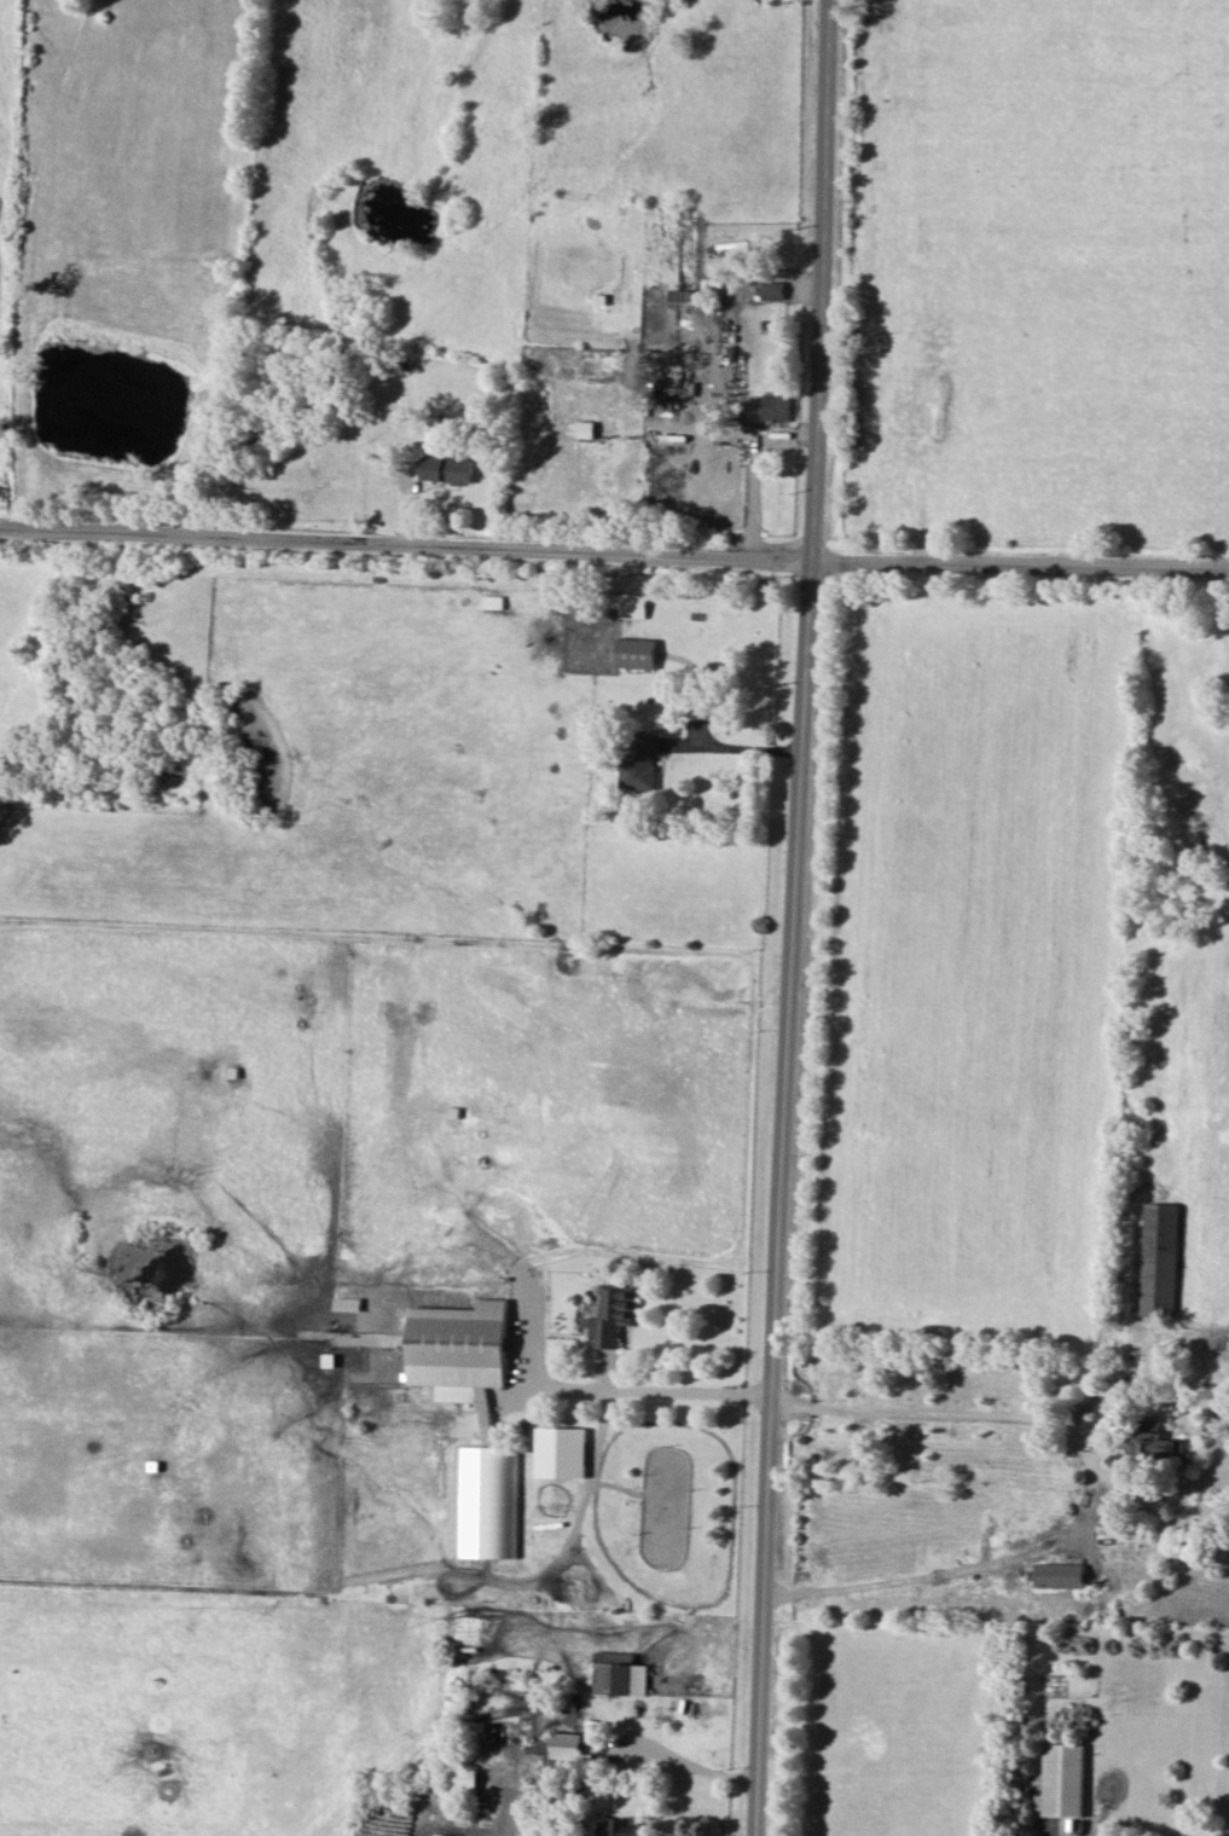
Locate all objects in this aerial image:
building: (734, 249)
road: (25, 256)
building: (773, 291)
building: (680, 297)
building: (667, 371)
building: (777, 409)
building: (451, 471)
road: (614, 551)
building: (634, 606)
building: (639, 654)
road: (732, 752)
building: (644, 763)
road: (795, 917)
building: (1161, 1262)
building: (349, 1305)
building: (614, 1315)
building: (462, 1350)
road: (661, 1392)
building: (1154, 1447)
road: (1091, 1483)
building: (491, 1504)
building: (1061, 1576)
building: (621, 1675)
building: (562, 1747)
road: (686, 1765)
building: (1065, 1780)
building: (463, 1784)
building: (621, 1826)

